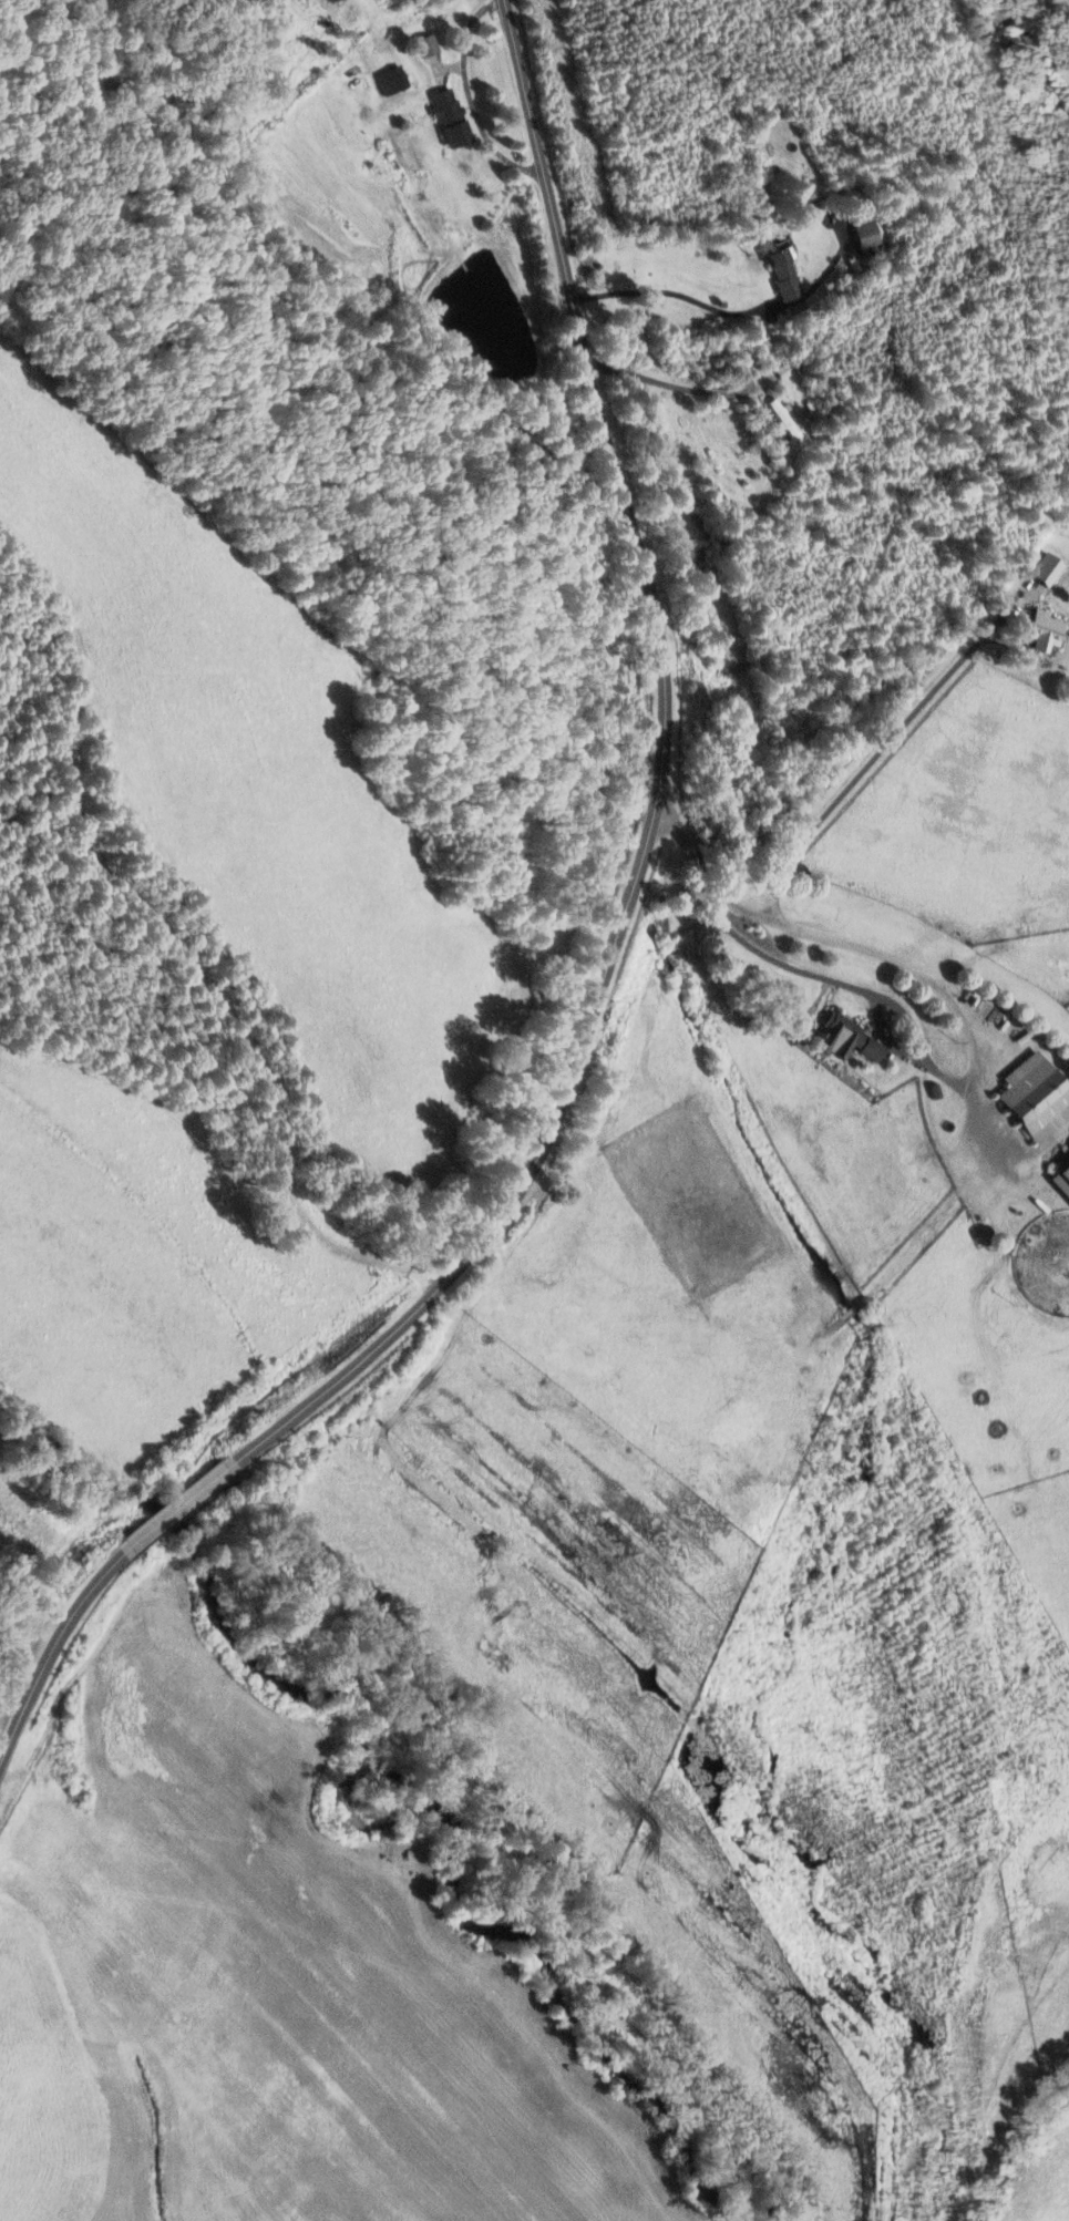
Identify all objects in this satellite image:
building: (327, 1)
building: (424, 47)
building: (390, 81)
road: (469, 94)
building: (448, 119)
building: (866, 230)
building: (781, 274)
road: (674, 292)
road: (671, 383)
building: (781, 419)
building: (1045, 569)
building: (1041, 627)
road: (870, 763)
road: (659, 795)
road: (861, 947)
road: (836, 984)
building: (844, 1039)
building: (1032, 1097)
building: (1061, 1179)
road: (176, 1508)
road: (48, 1654)

